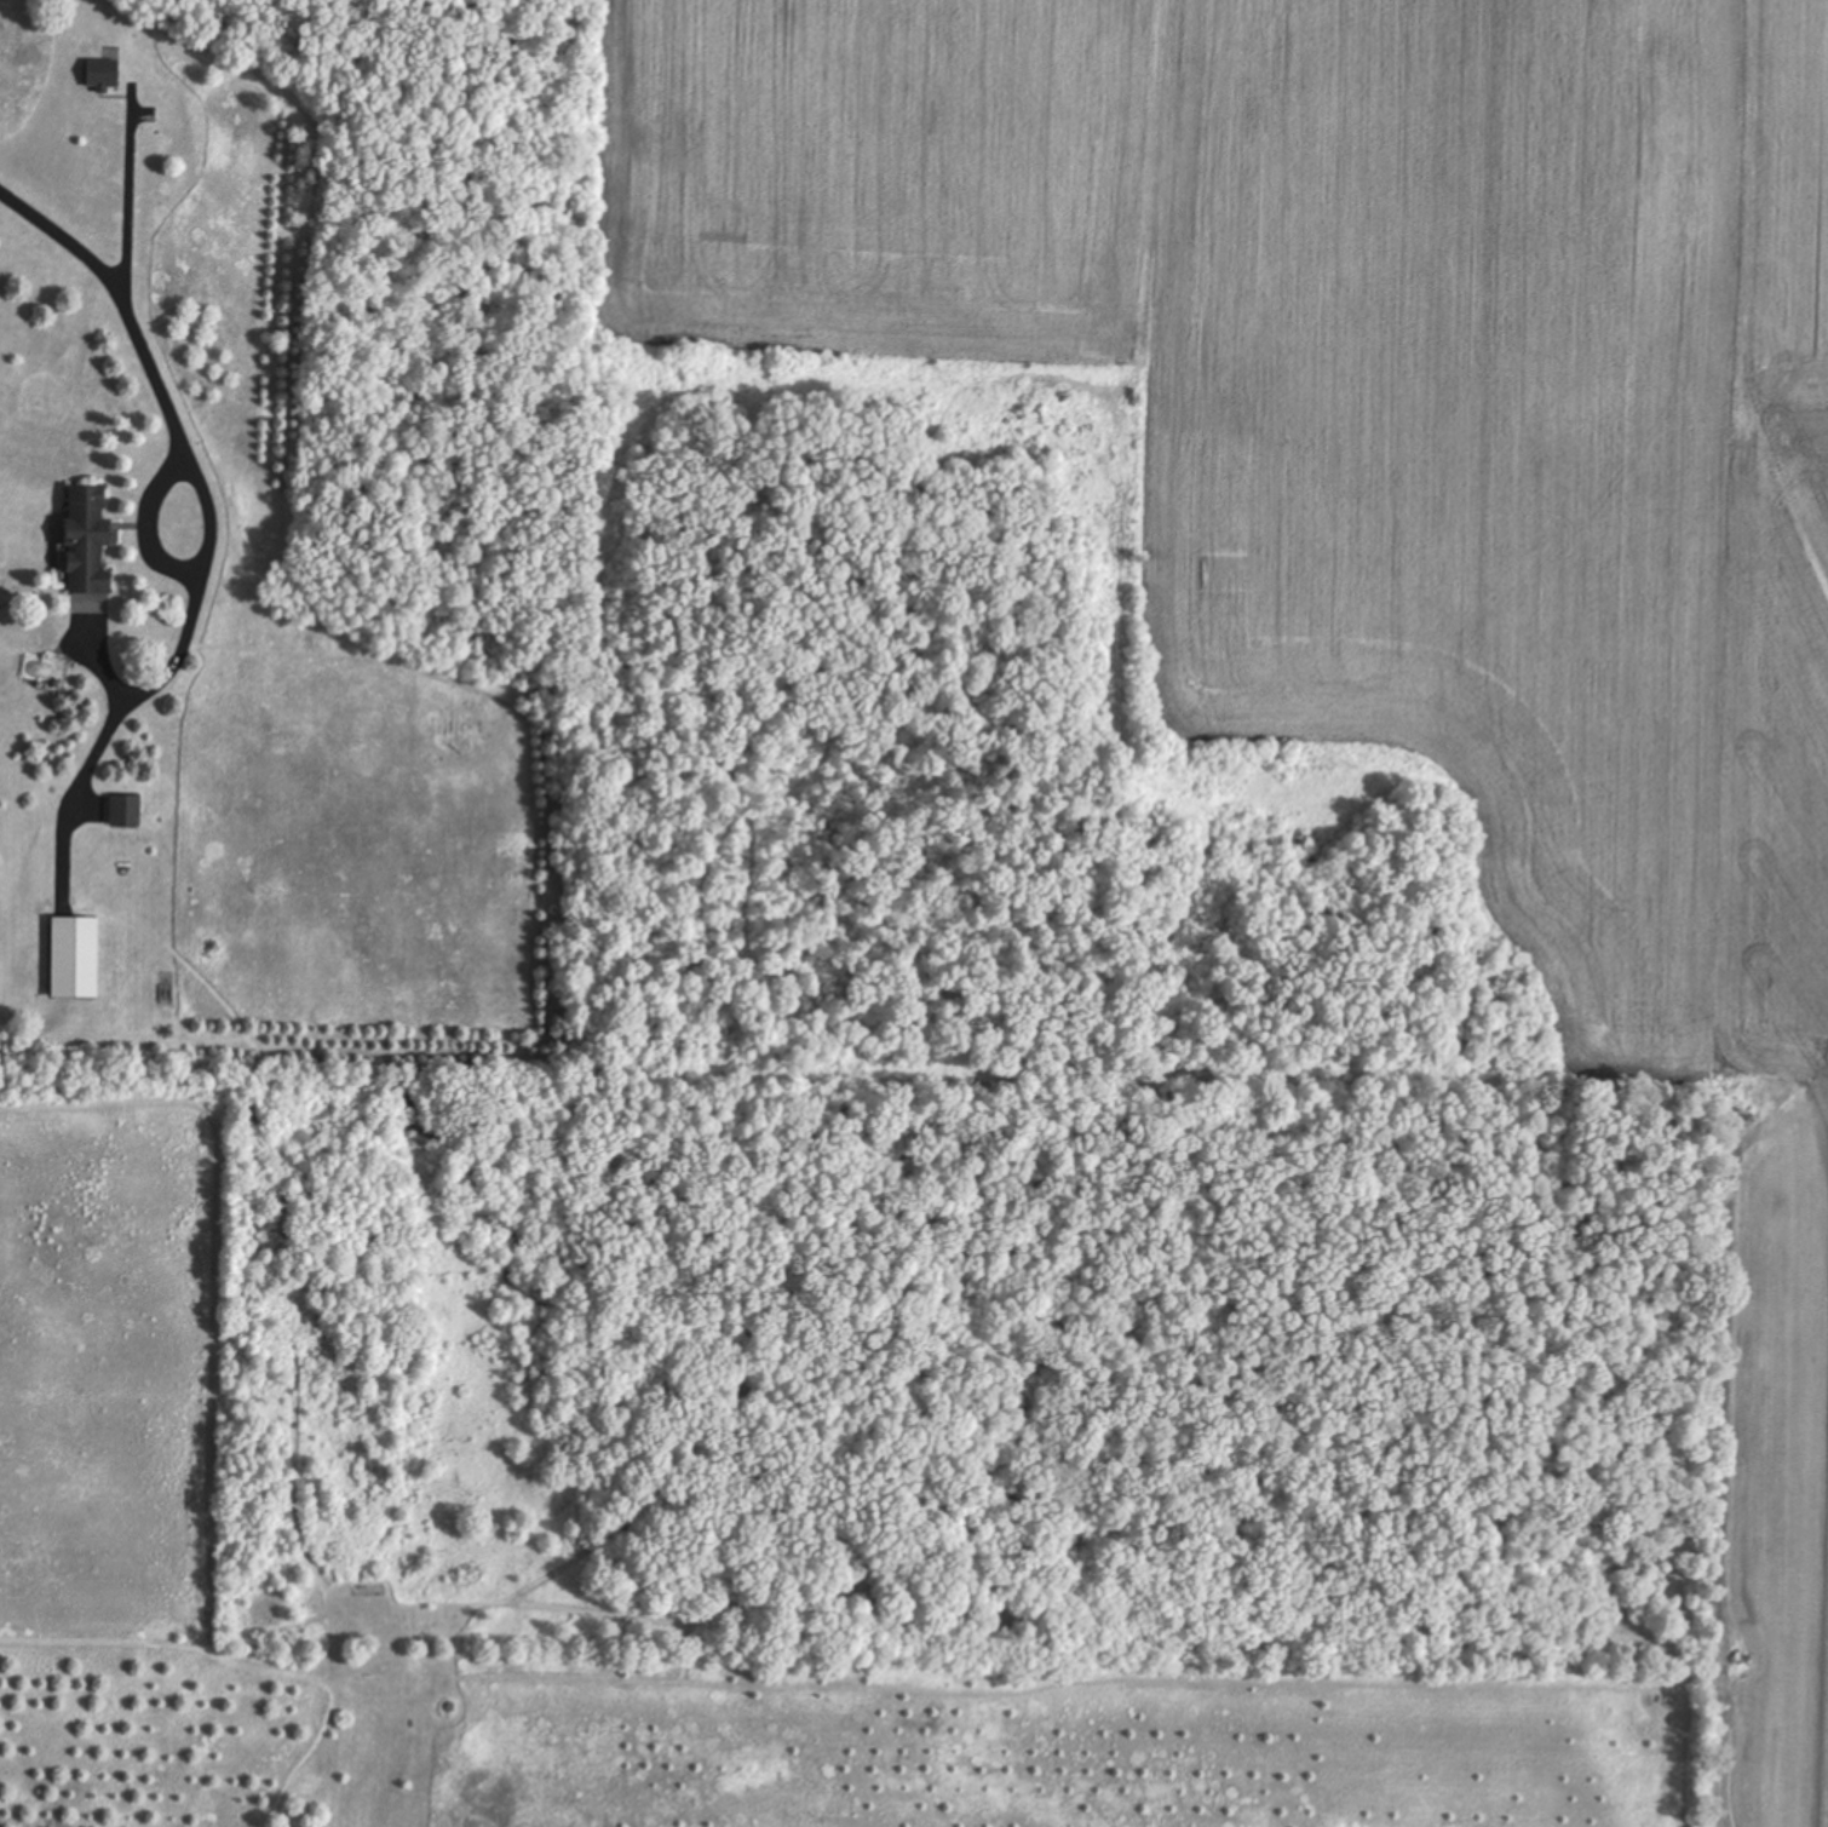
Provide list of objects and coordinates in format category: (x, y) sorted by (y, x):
building: (102, 75)
road: (120, 280)
building: (86, 544)
road: (194, 607)
building: (87, 609)
building: (125, 811)
building: (74, 958)

